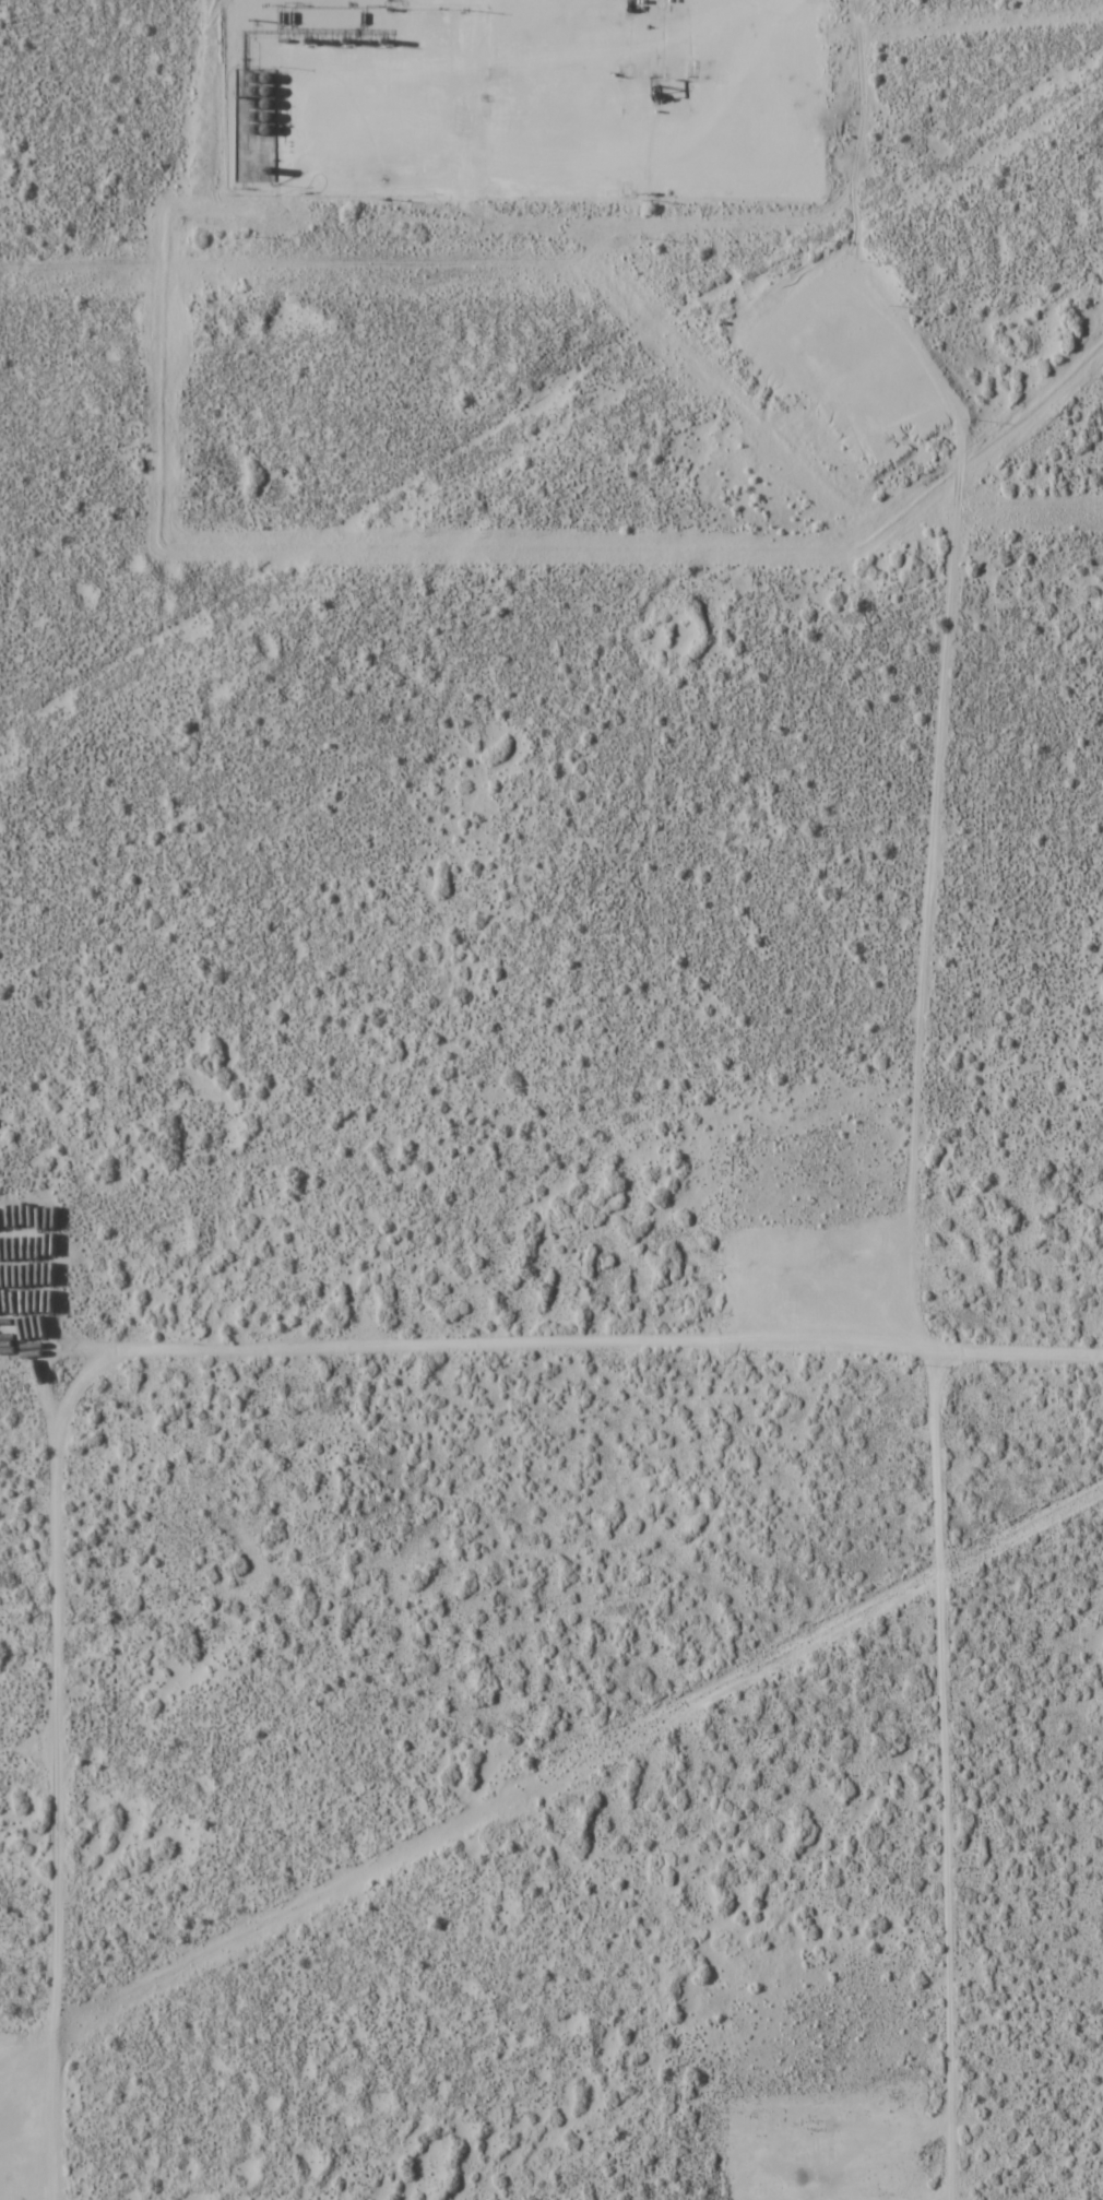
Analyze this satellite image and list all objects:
petroleum well: (688, 74)
petroleum well: (621, 75)
petroleum well: (654, 75)
road: (950, 776)
petroleum well: (829, 1254)
road: (144, 1343)
road: (953, 1772)

